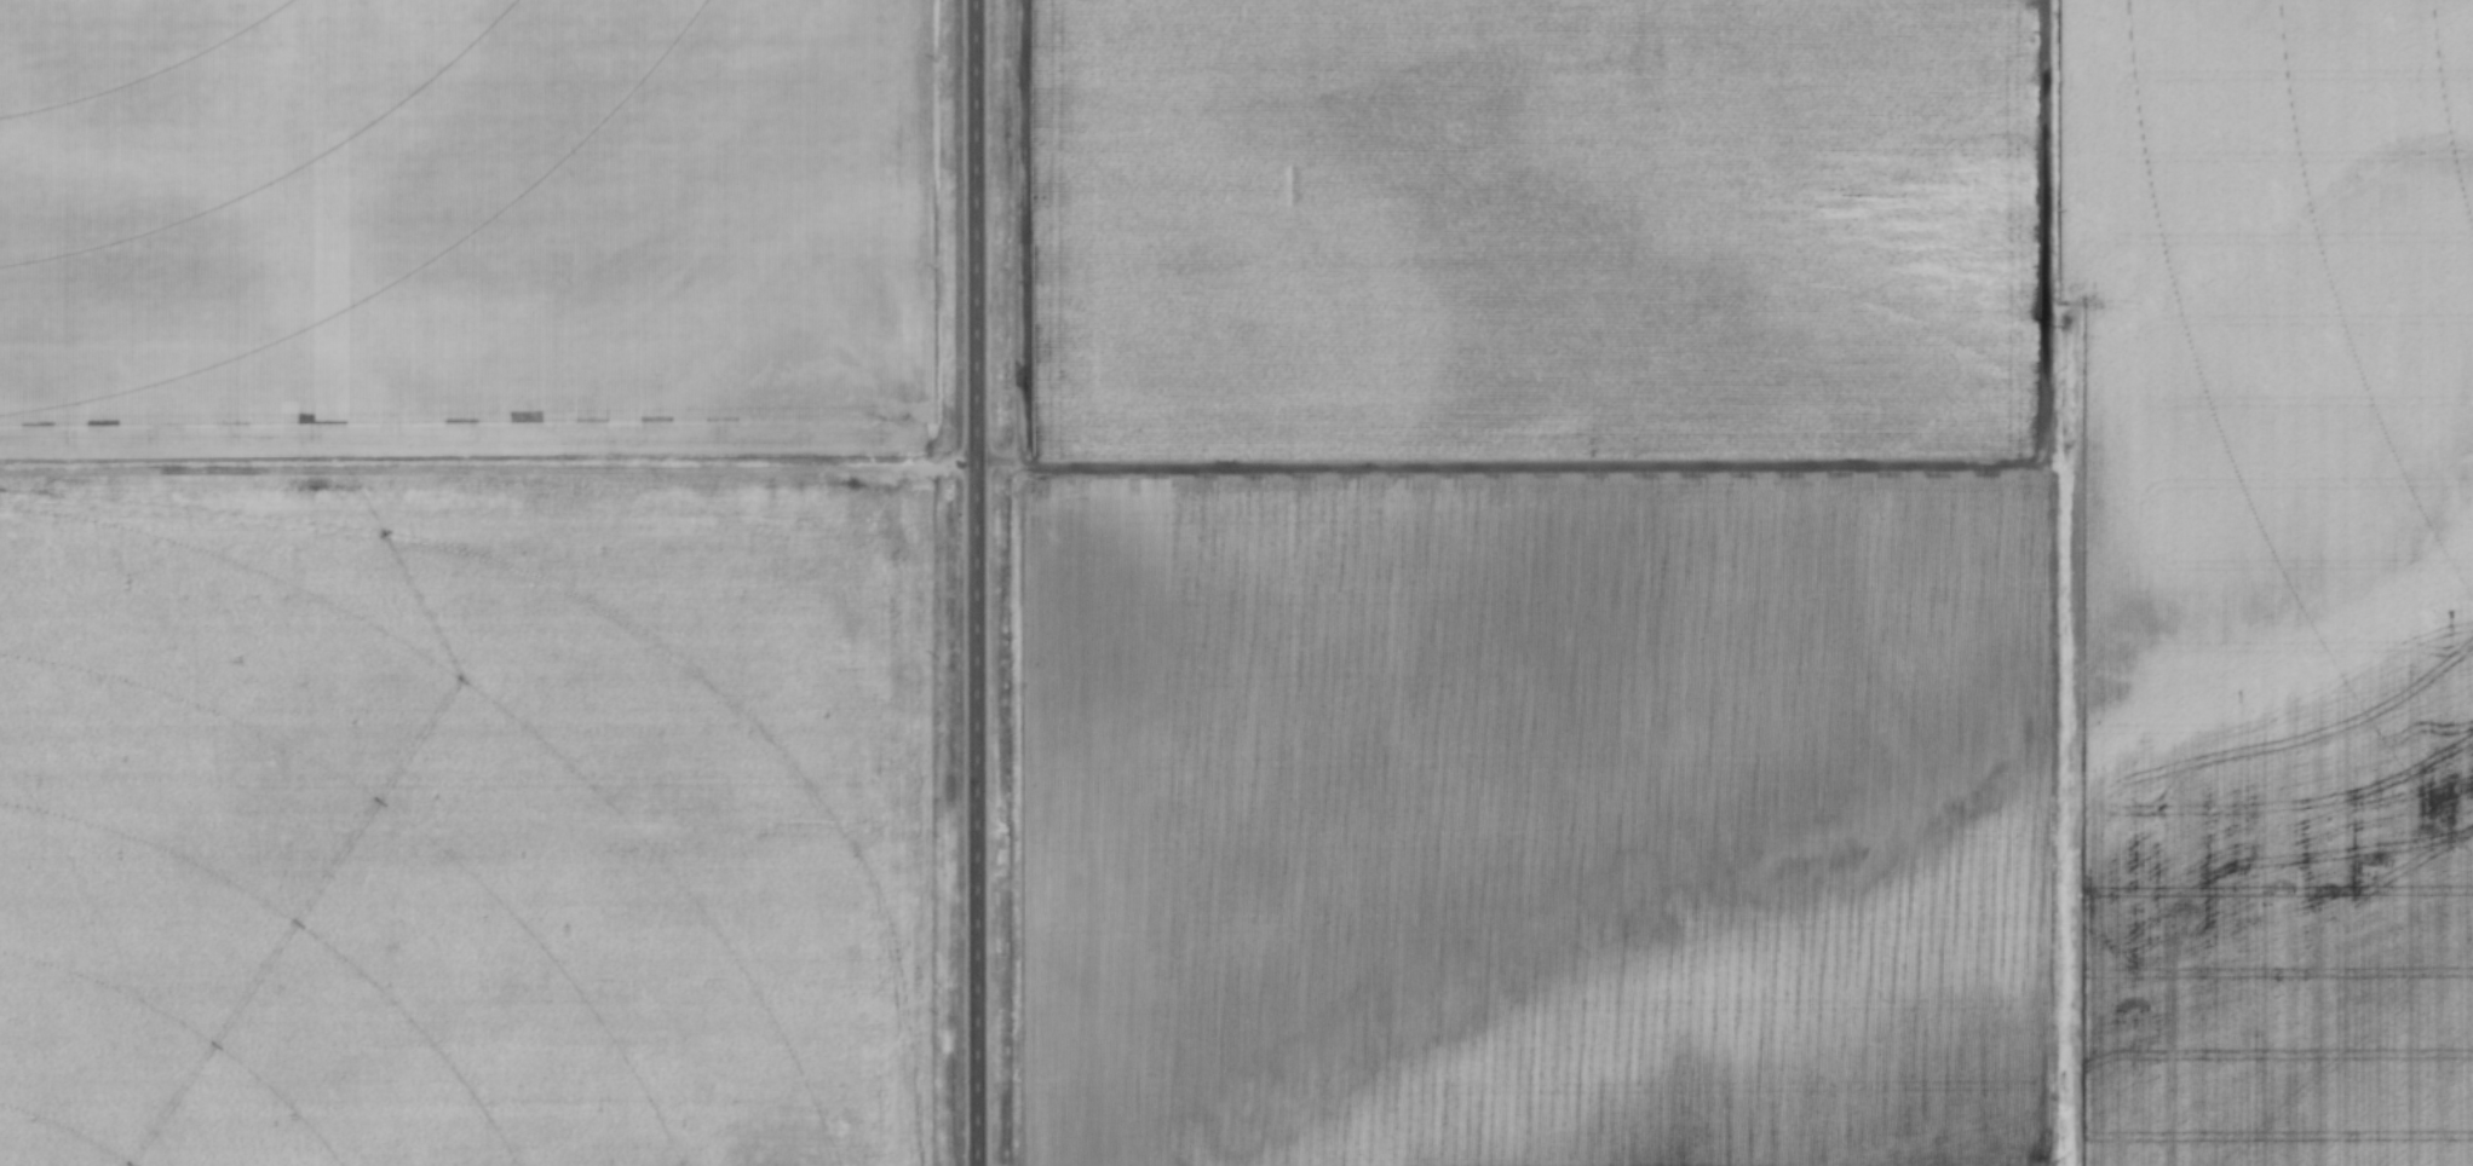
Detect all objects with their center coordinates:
road: (973, 583)

